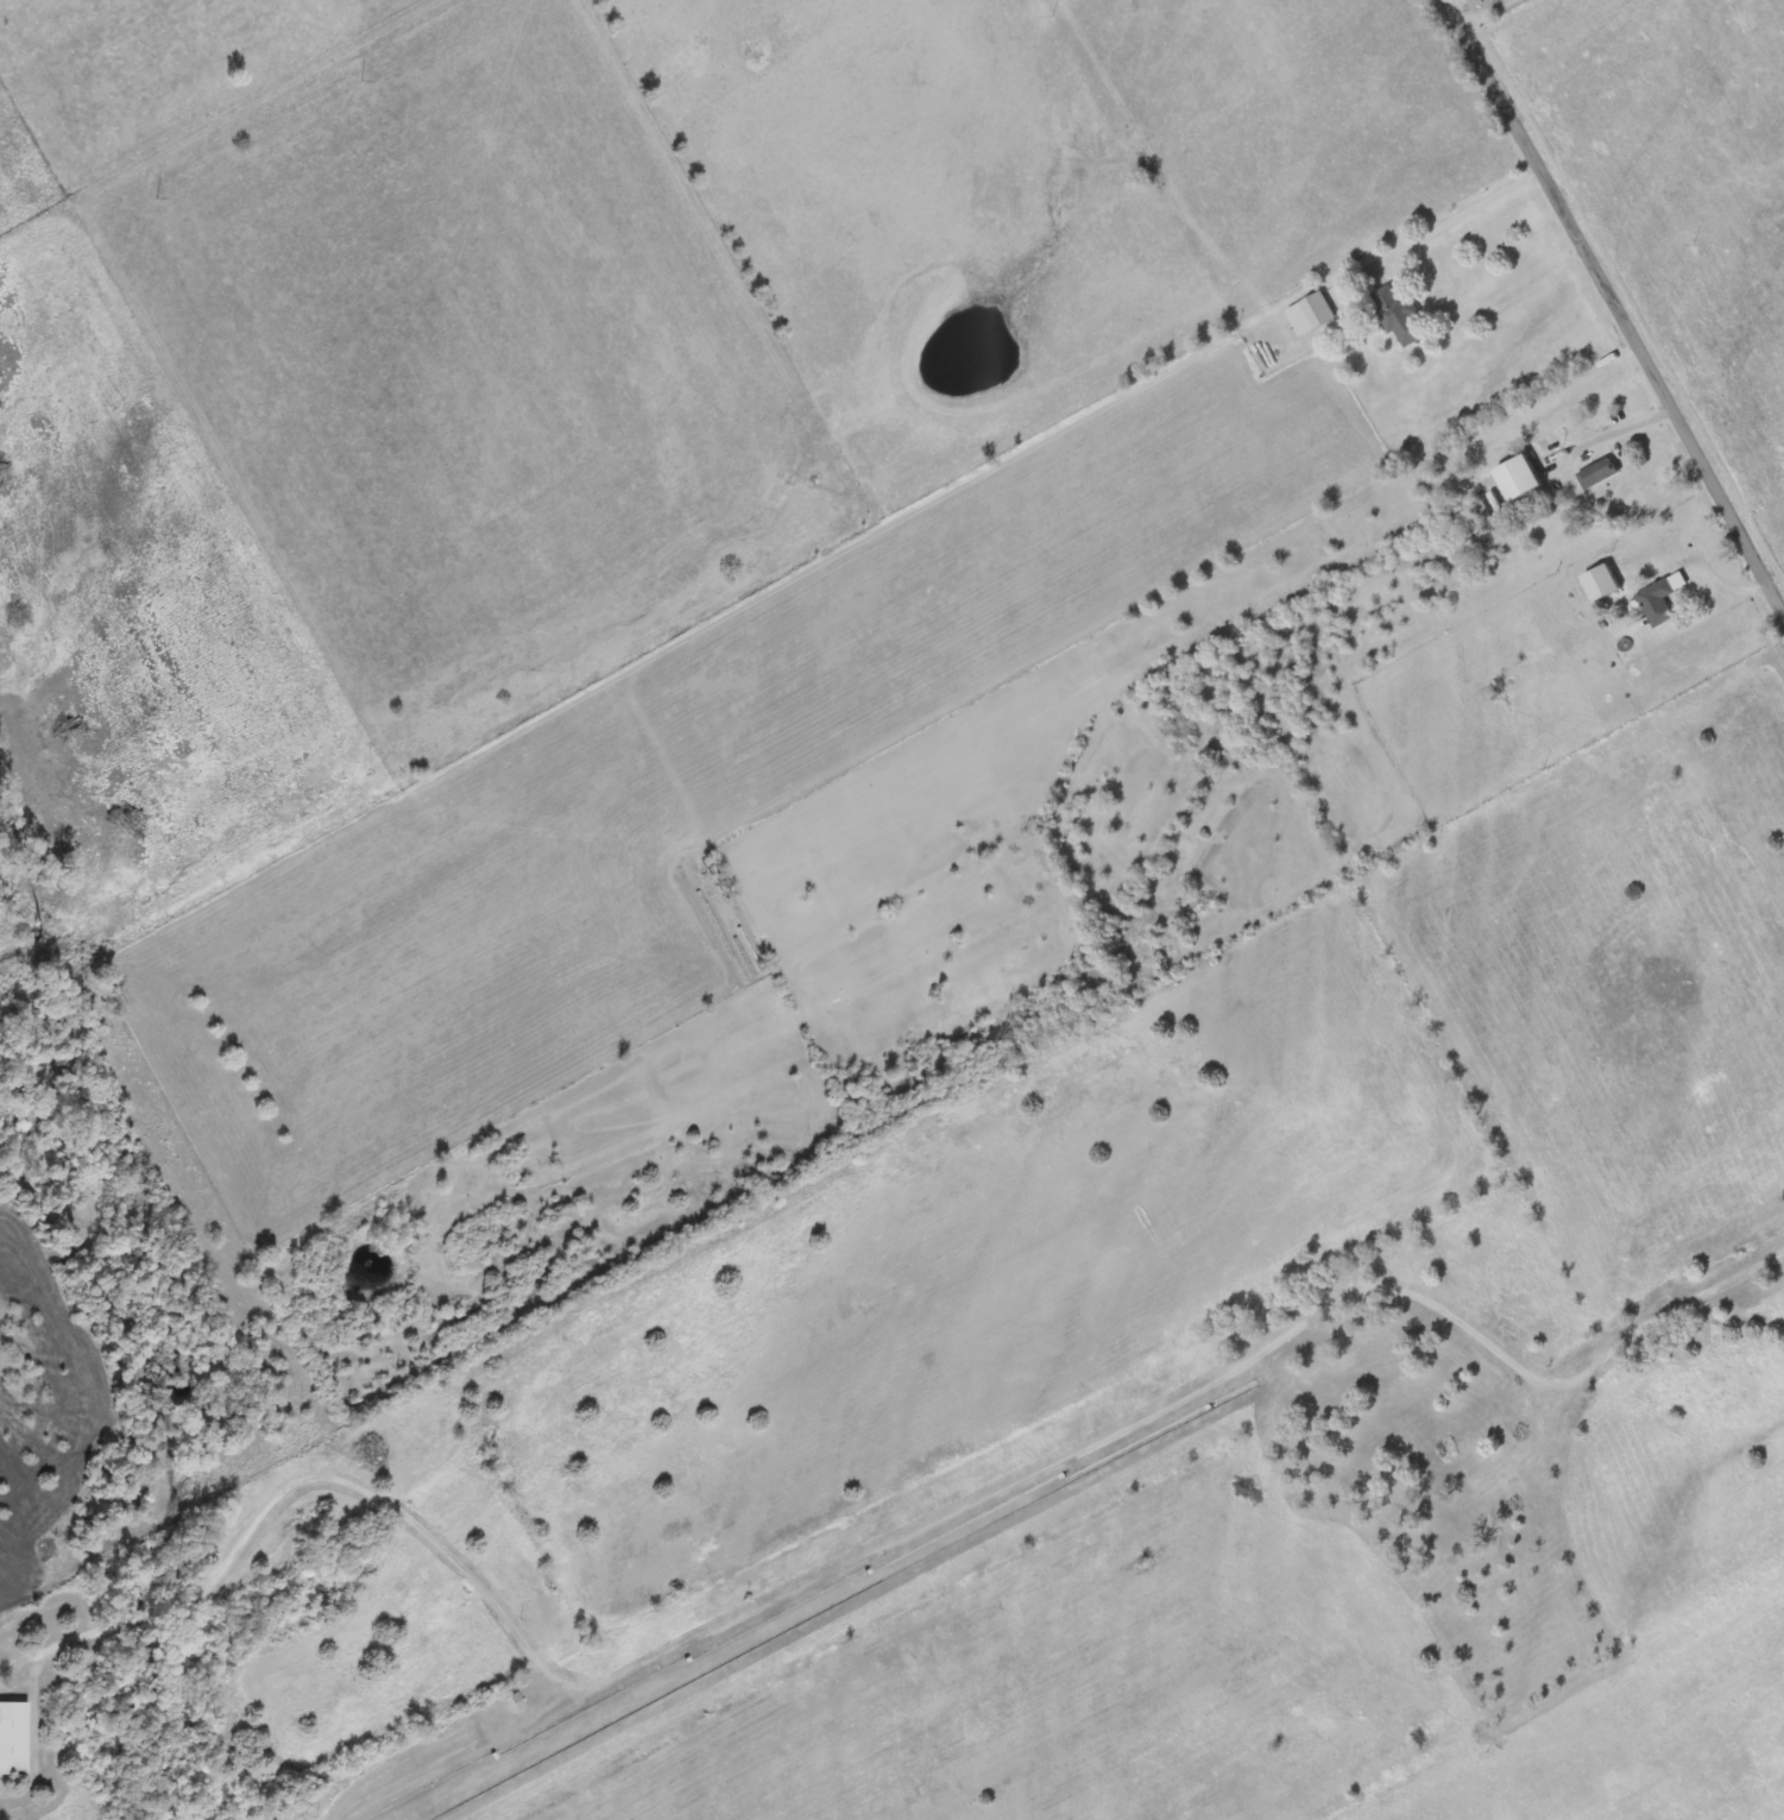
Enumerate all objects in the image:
road: (1615, 298)
building: (1312, 315)
building: (1401, 317)
building: (1597, 474)
building: (1498, 503)
building: (1662, 599)
road: (1082, 1446)
building: (13, 1738)

